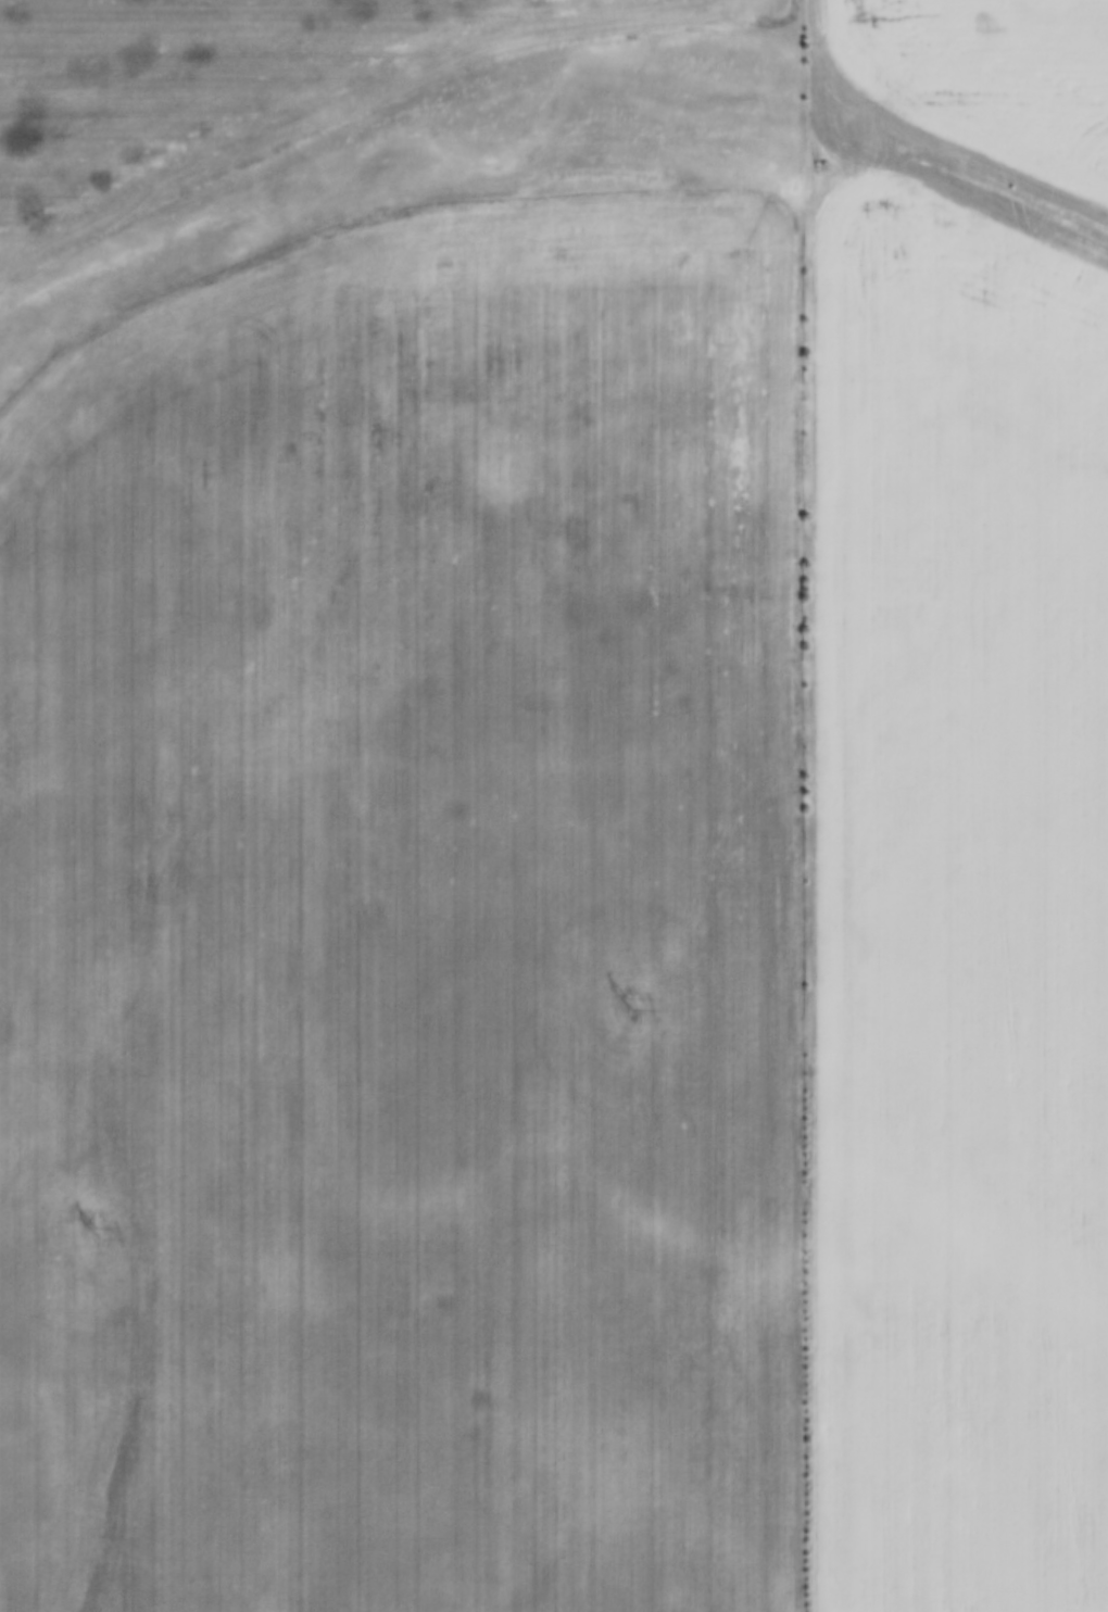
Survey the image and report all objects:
power tower: (627, 1004)
power tower: (96, 1233)

